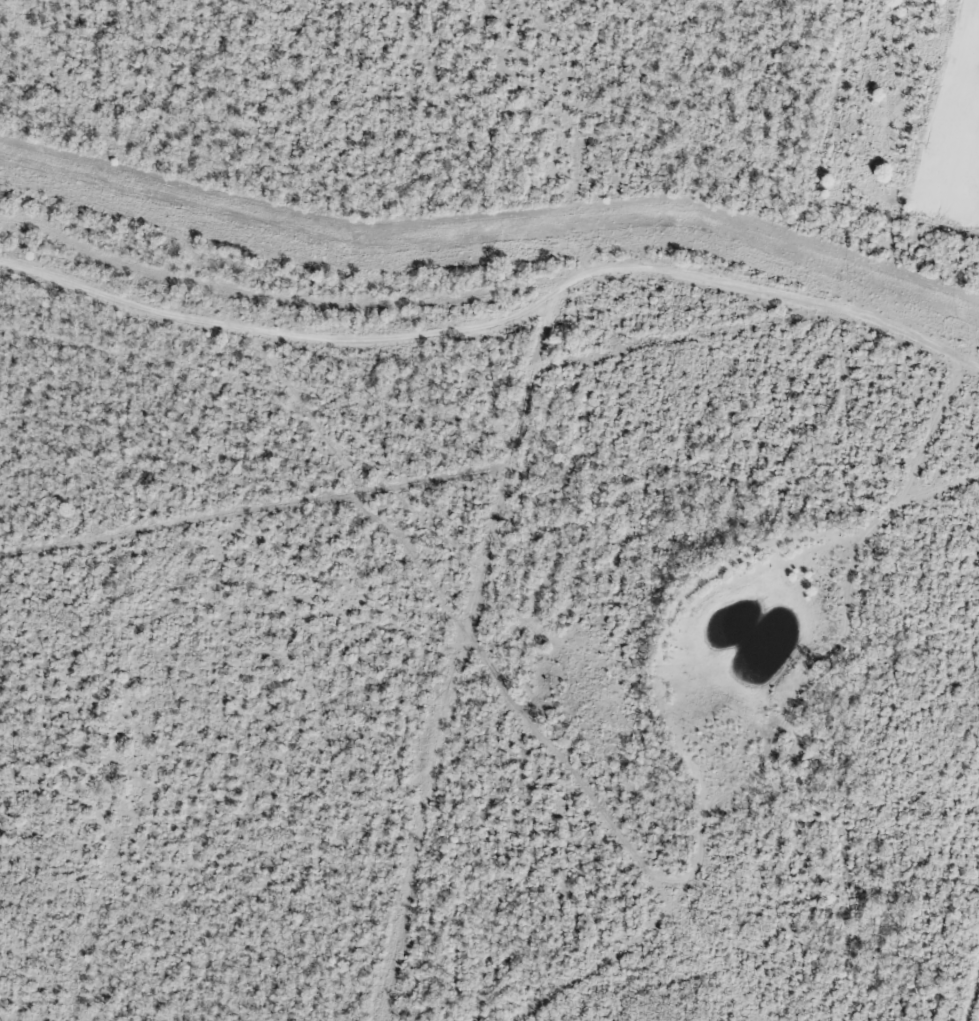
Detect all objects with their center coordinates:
road: (495, 259)

